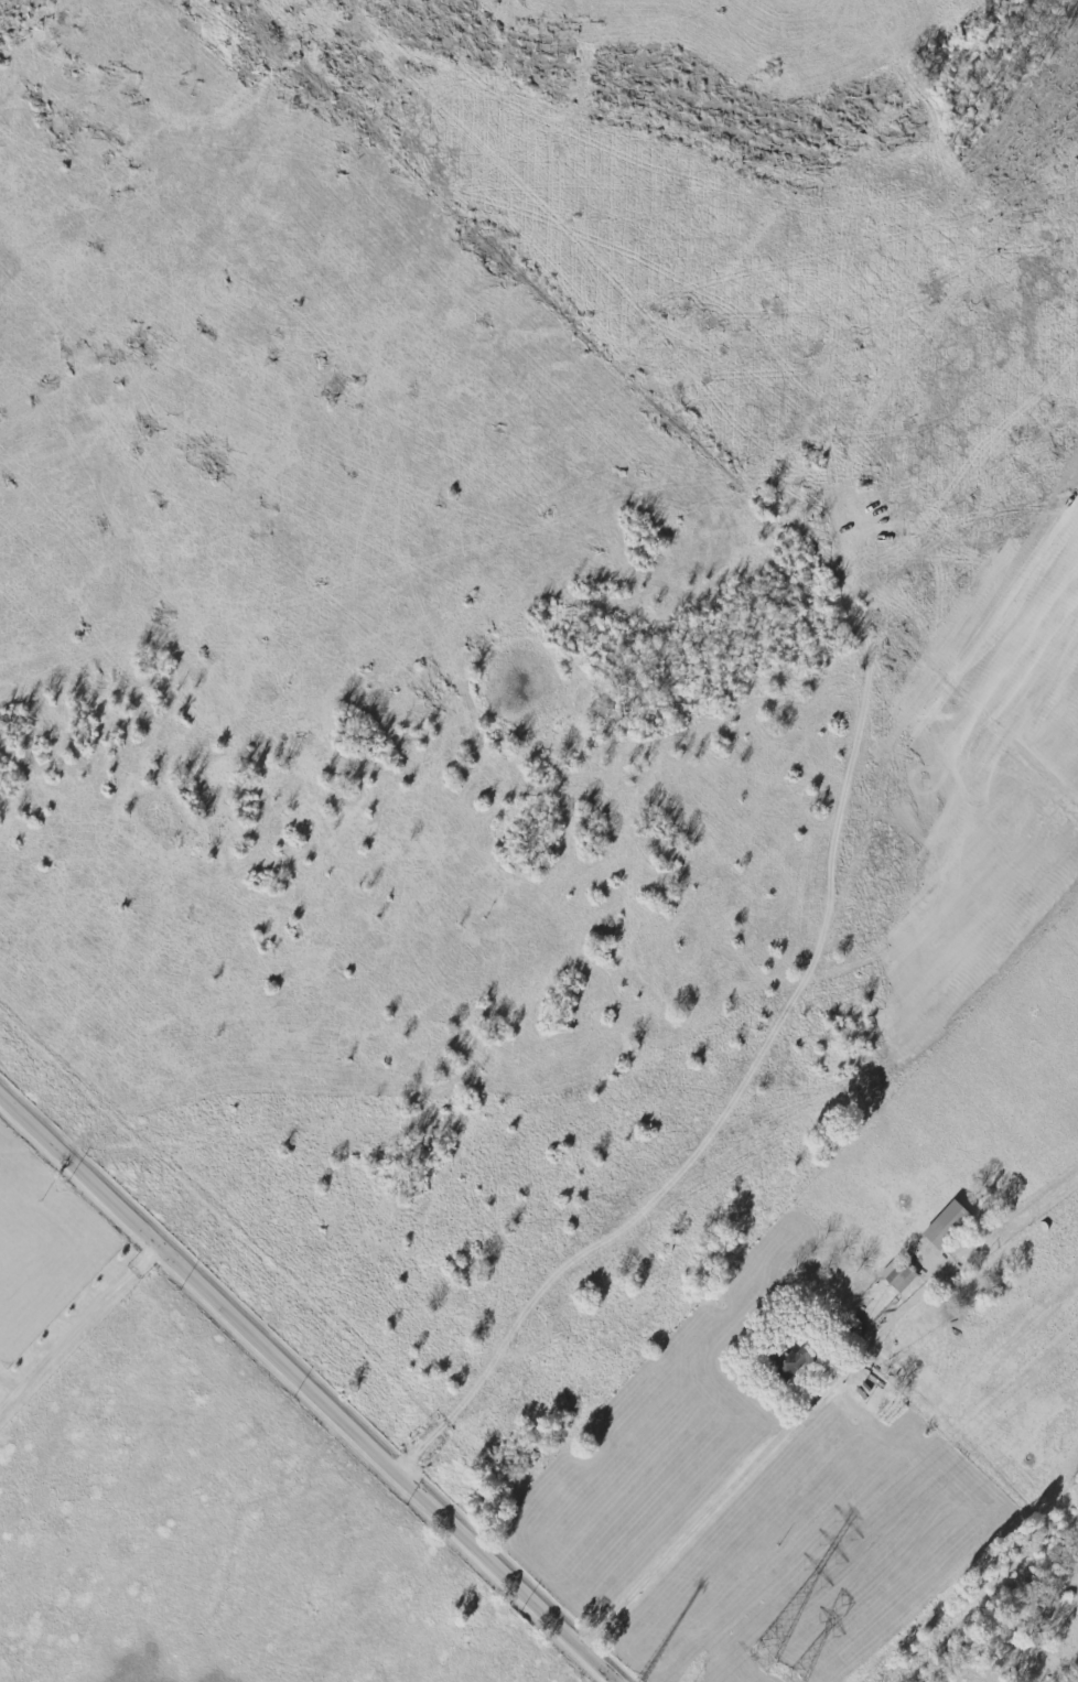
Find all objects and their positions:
building: (951, 1225)
building: (899, 1275)
road: (78, 1326)
building: (796, 1360)
road: (311, 1387)
road: (820, 1403)
railway: (992, 1603)
power tower: (765, 1658)

